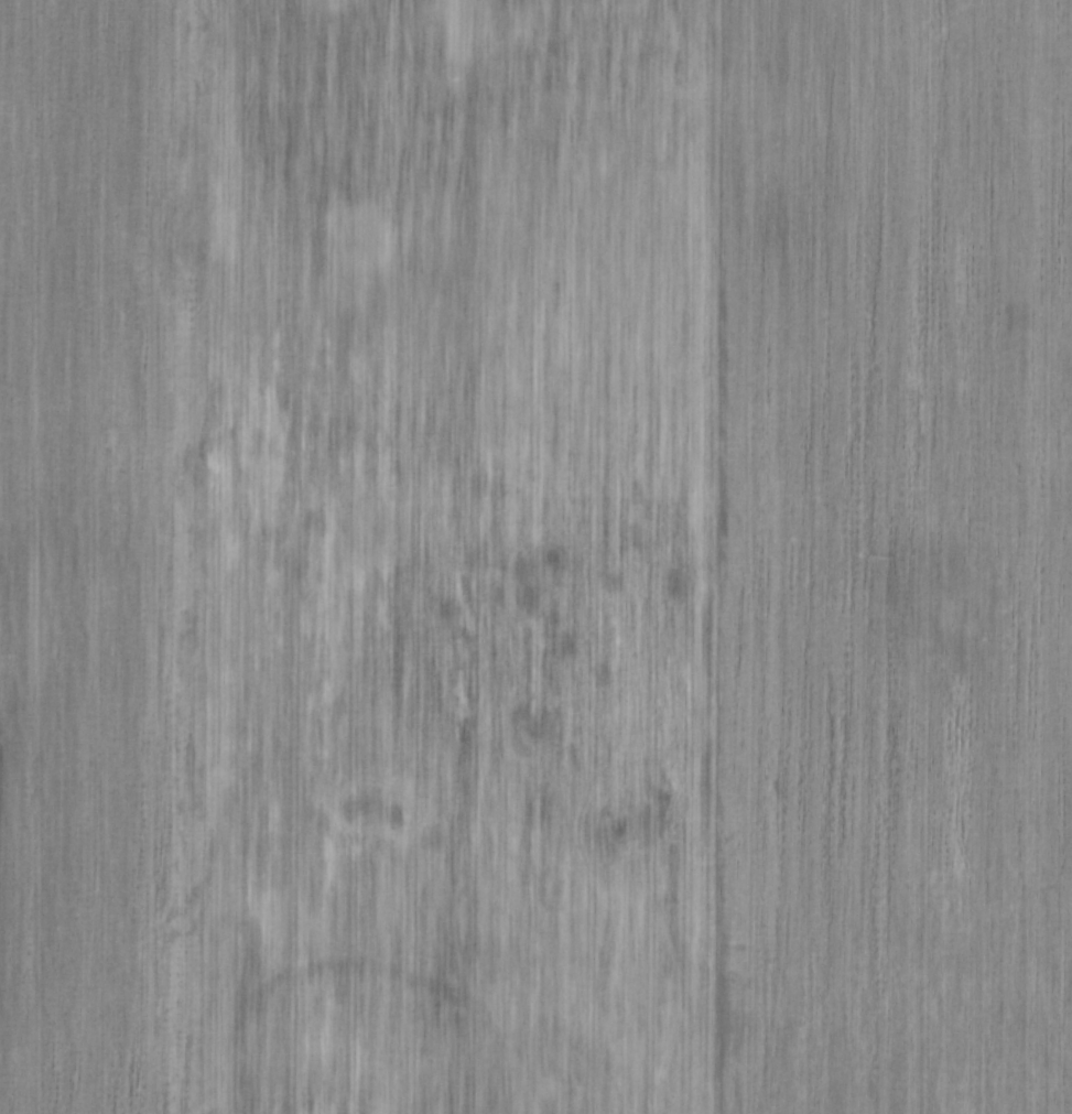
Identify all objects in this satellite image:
crop: (535, 556)

